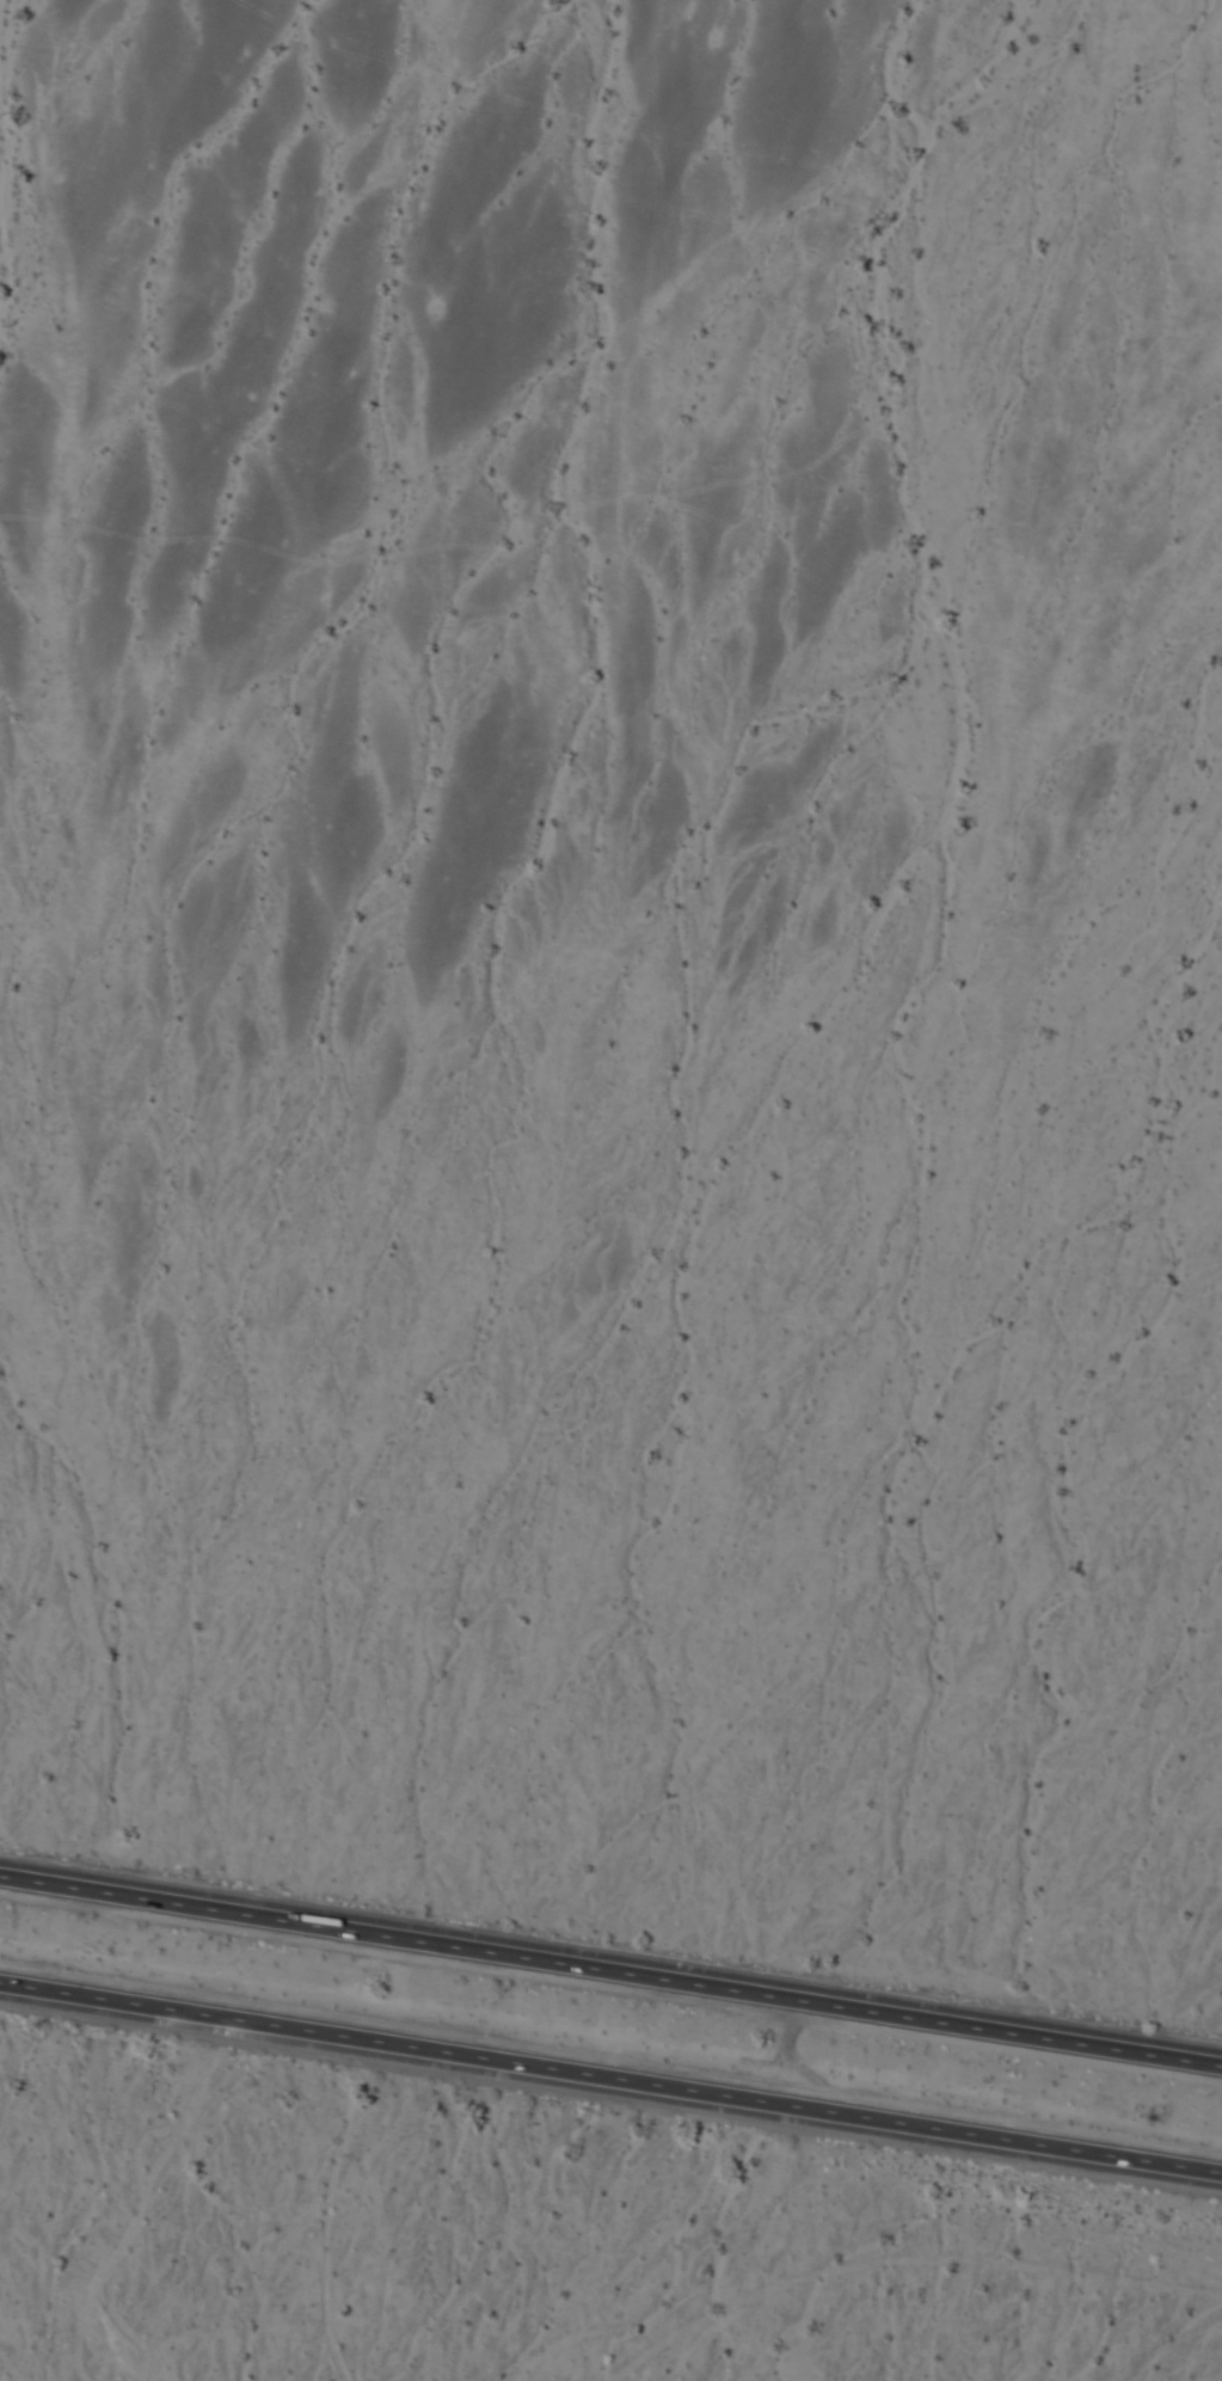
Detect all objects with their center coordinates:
road: (610, 1965)
road: (610, 2084)

